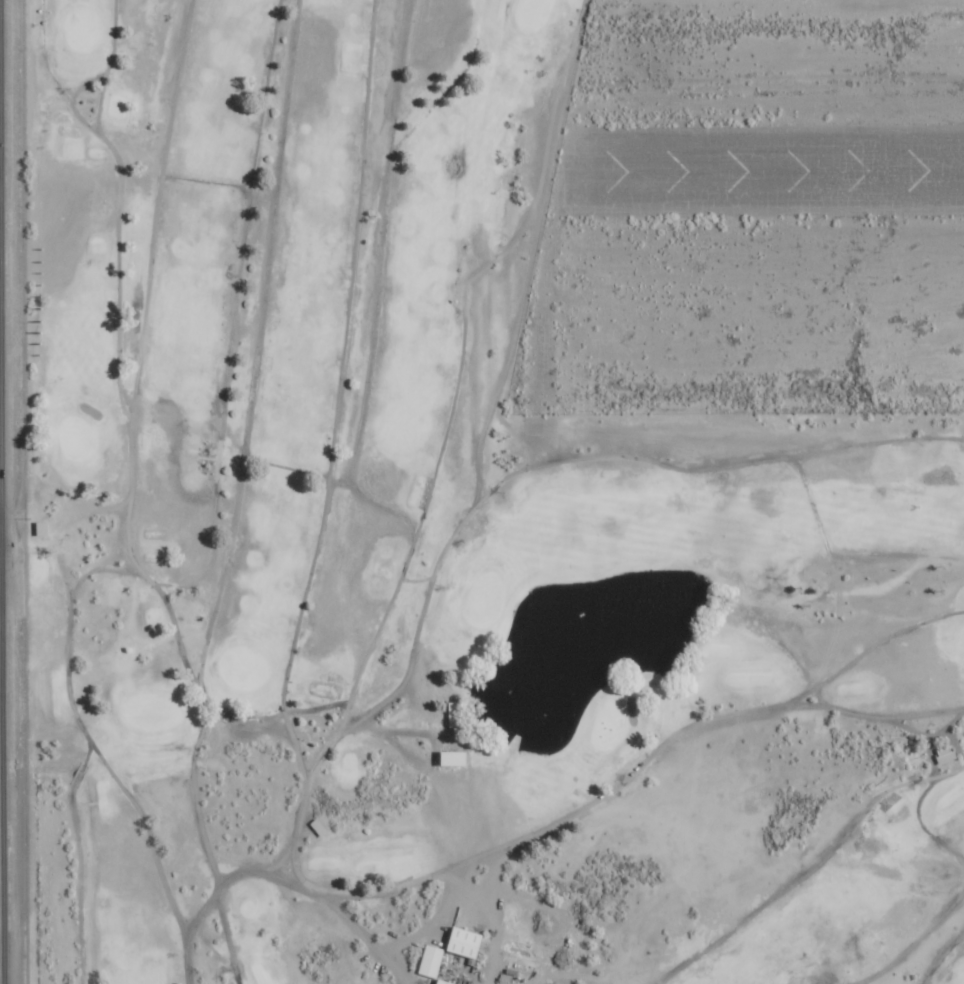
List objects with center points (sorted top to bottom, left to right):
railway: (24, 491)
park: (442, 556)
building: (456, 714)
building: (946, 753)
building: (448, 757)
road: (3, 791)
building: (466, 941)
building: (432, 960)
building: (445, 982)

